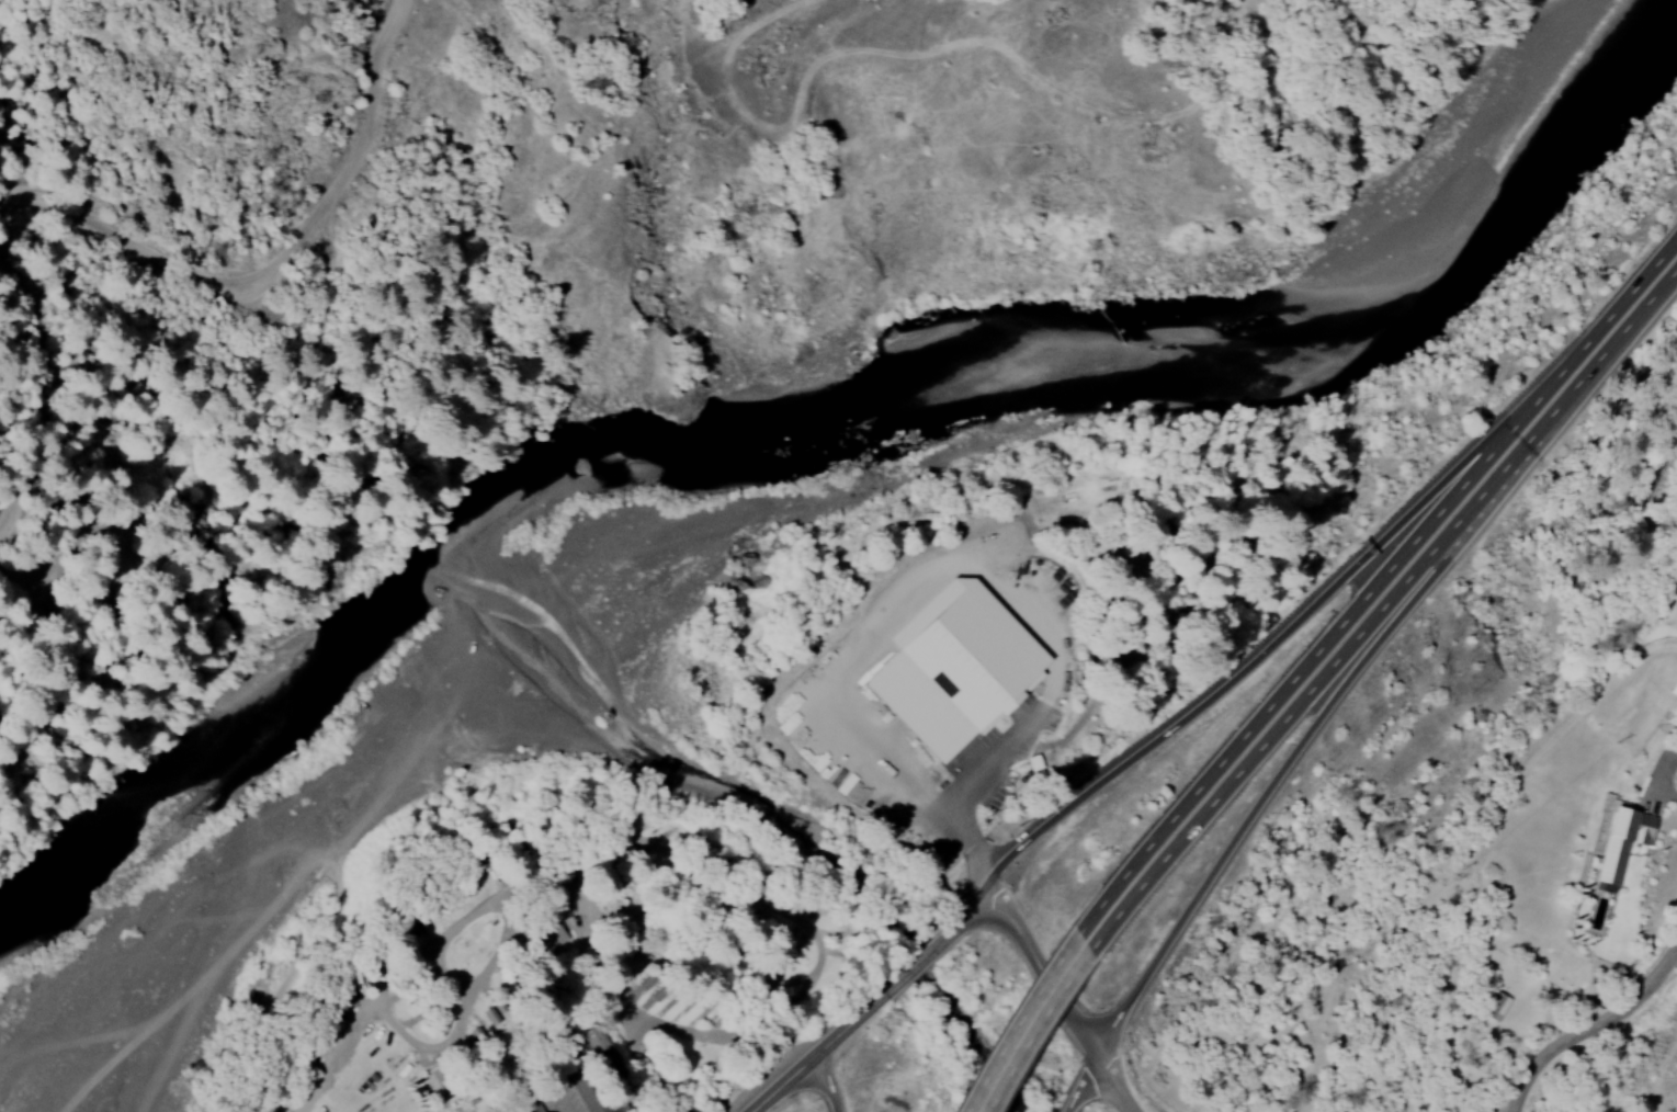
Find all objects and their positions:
road: (138, 243)
road: (1611, 333)
river: (1187, 409)
road: (1486, 475)
river: (408, 637)
road: (1268, 650)
building: (952, 667)
road: (939, 682)
road: (1249, 742)
road: (1261, 799)
building: (1620, 843)
river: (175, 876)
road: (694, 885)
road: (972, 906)
road: (921, 956)
road: (700, 966)
road: (1042, 974)
river: (44, 994)
building: (1493, 1006)
road: (1587, 1024)
road: (1024, 1029)
road: (494, 1032)
building: (588, 1039)
road: (820, 1052)
road: (1087, 1073)
road: (588, 1082)
road: (830, 1082)
road: (1110, 1085)
building: (437, 1086)
road: (1070, 1099)
building: (529, 1104)
road: (558, 1107)

